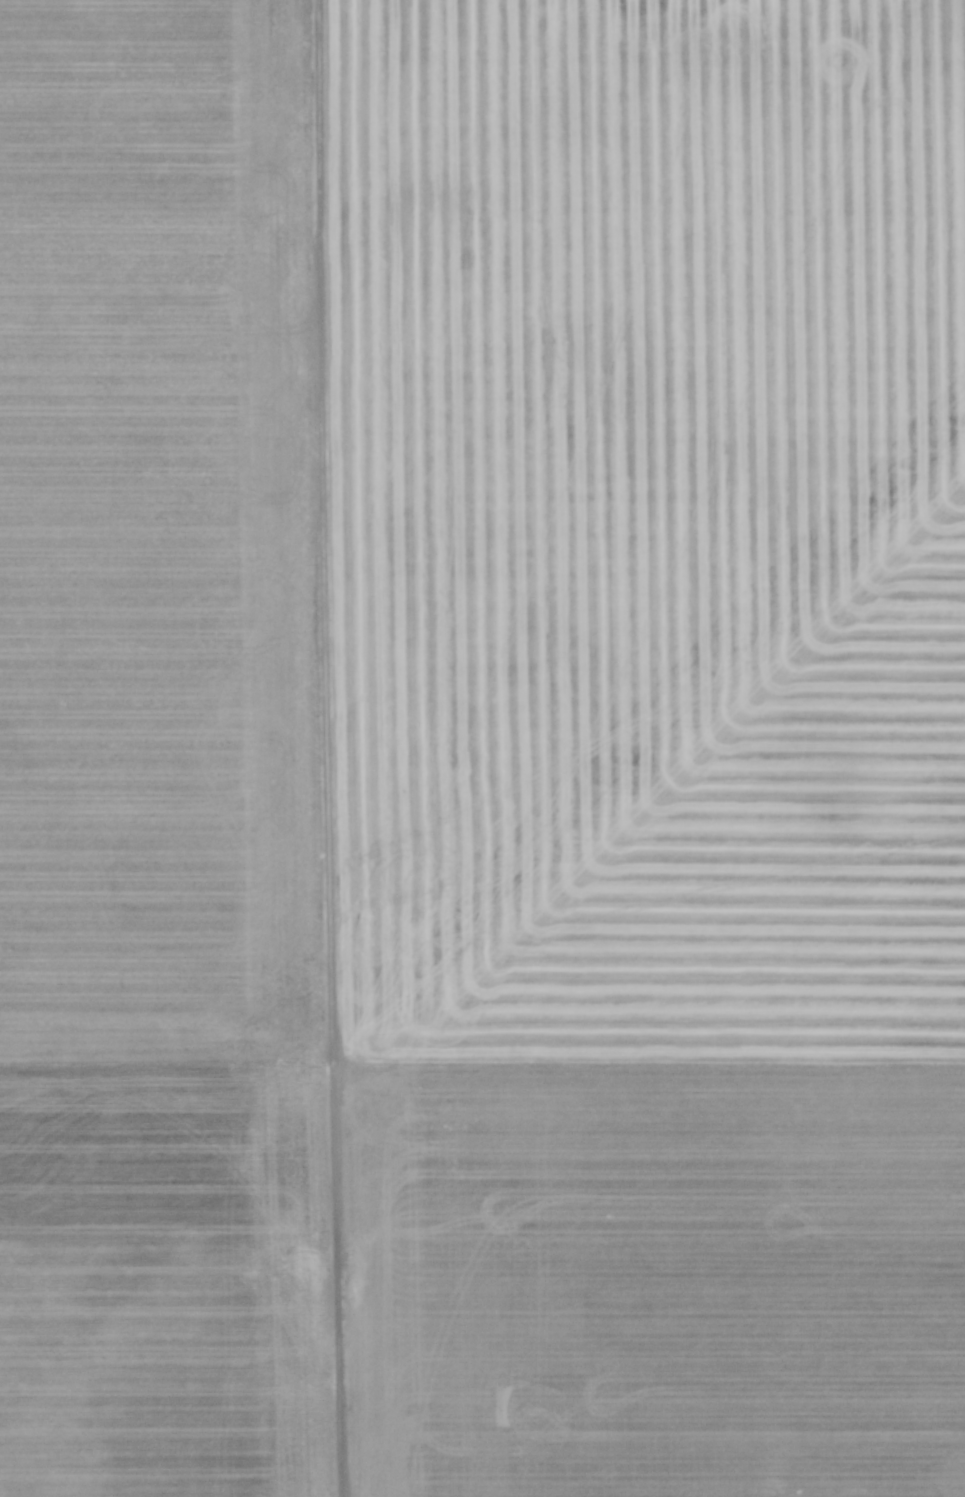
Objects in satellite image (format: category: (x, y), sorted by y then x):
crop: (482, 748)

